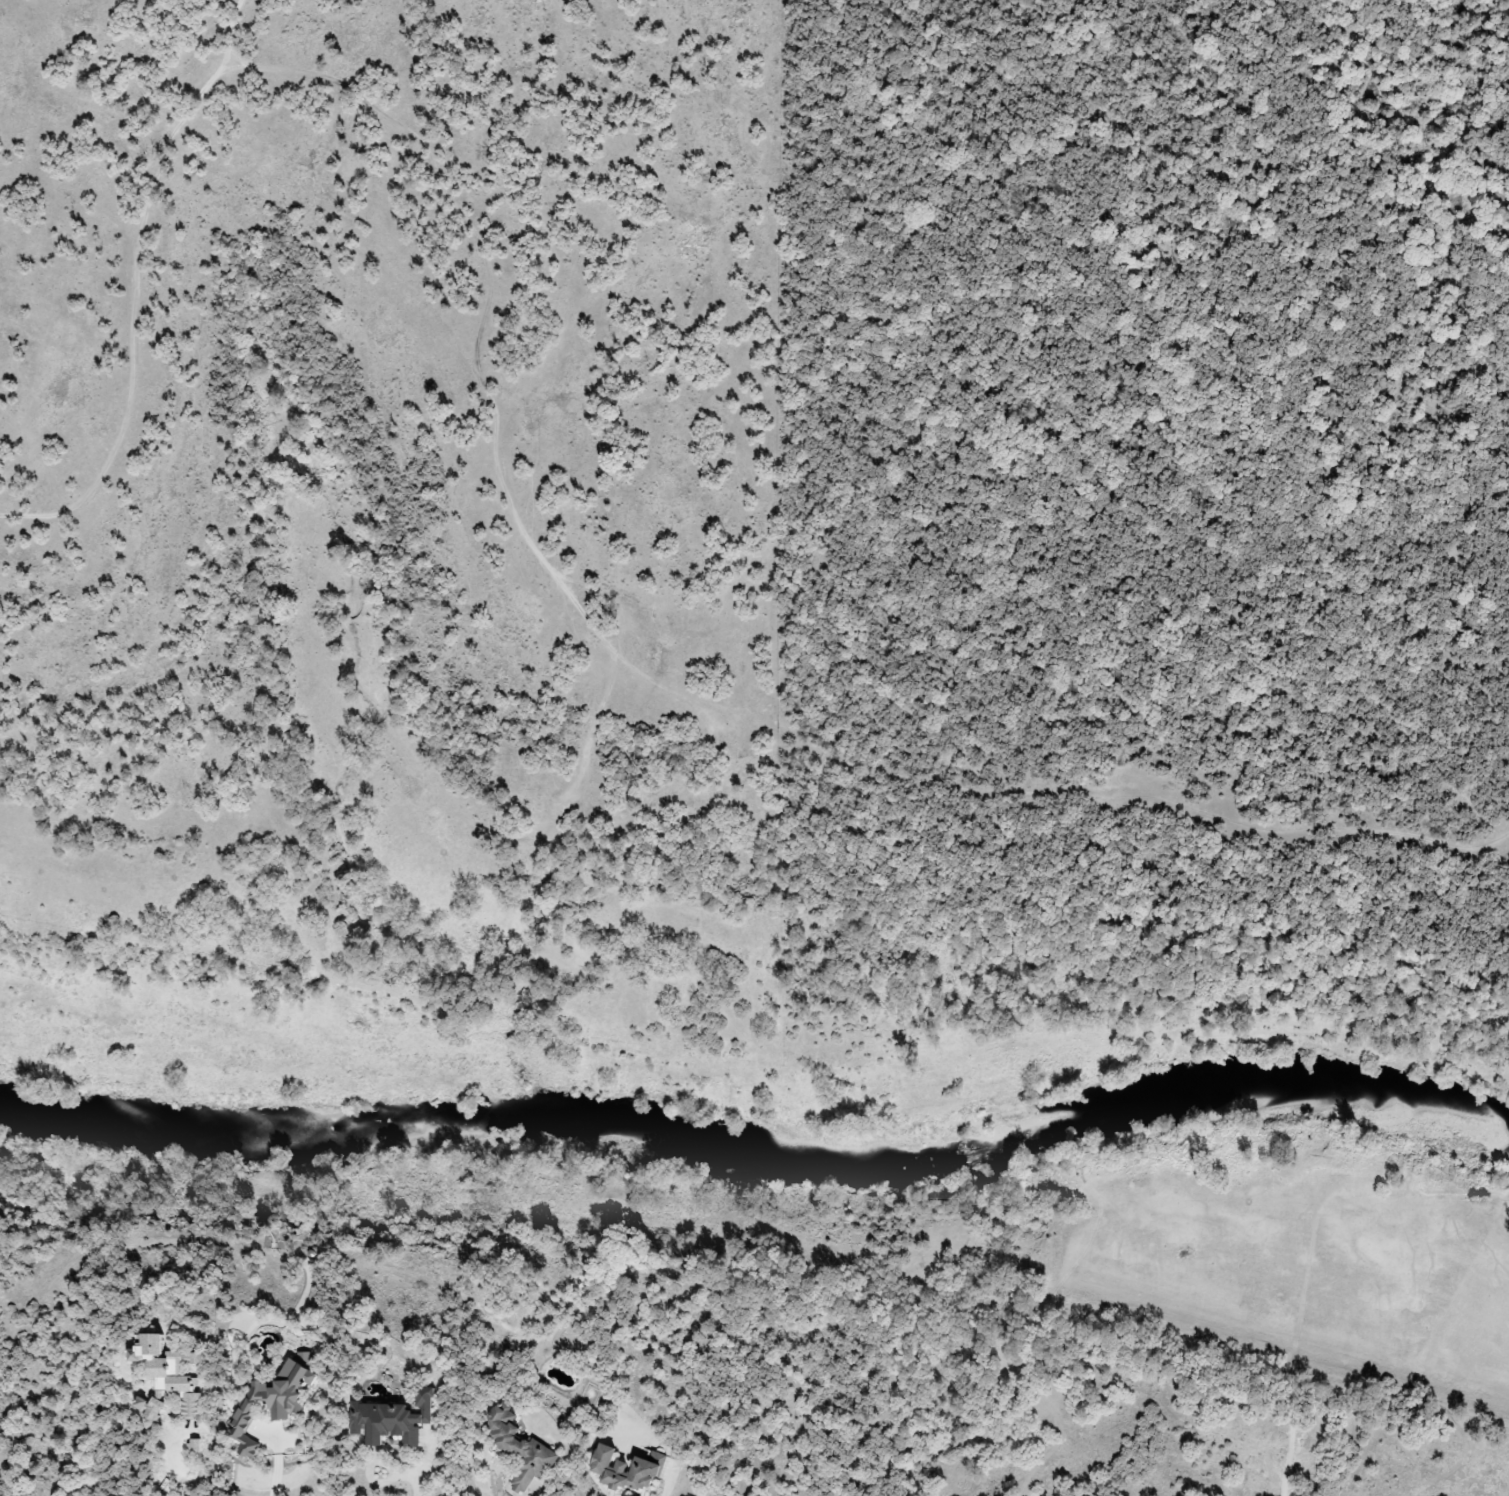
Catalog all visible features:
river: (759, 1159)
building: (170, 1372)
building: (270, 1402)
building: (147, 1408)
building: (390, 1418)
building: (519, 1448)
road: (426, 1467)
building: (621, 1470)
road: (666, 1491)
road: (538, 1494)

